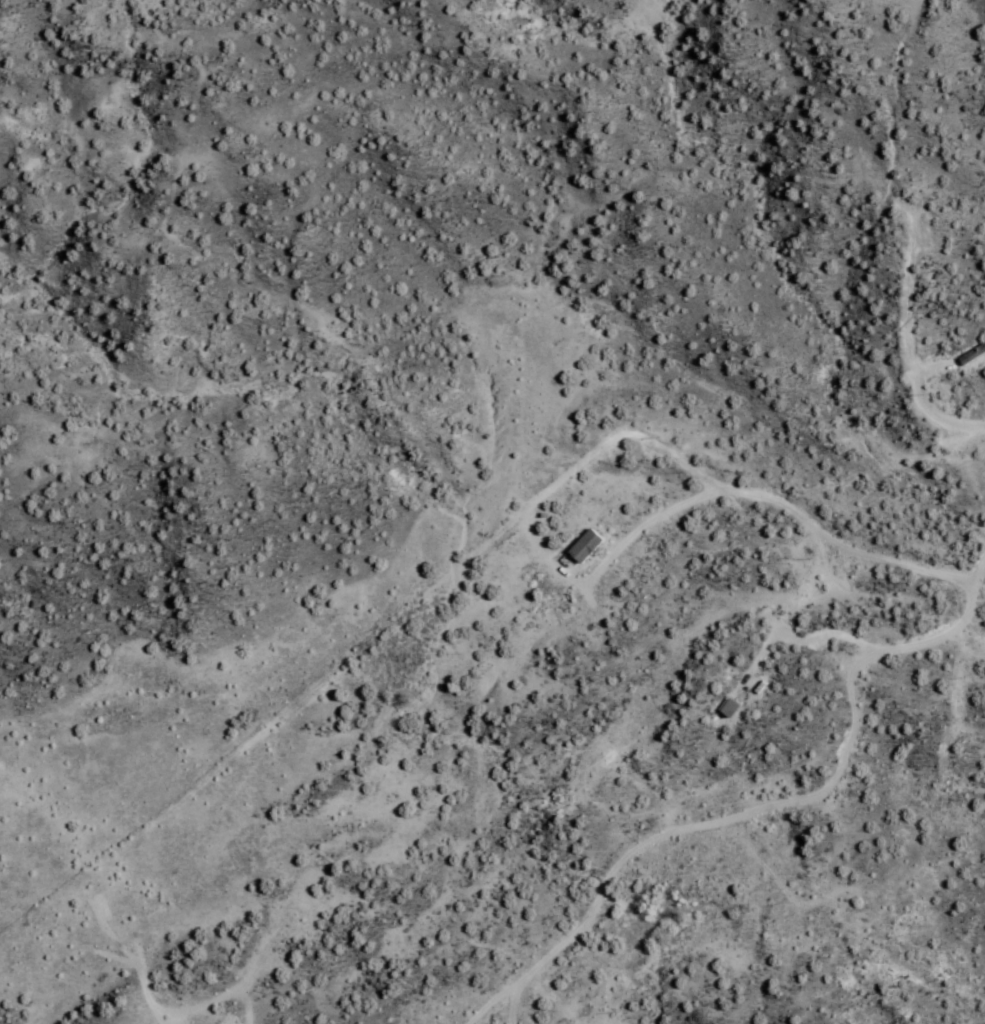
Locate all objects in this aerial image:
road: (21, 77)
road: (894, 201)
building: (974, 357)
road: (982, 390)
building: (588, 547)

